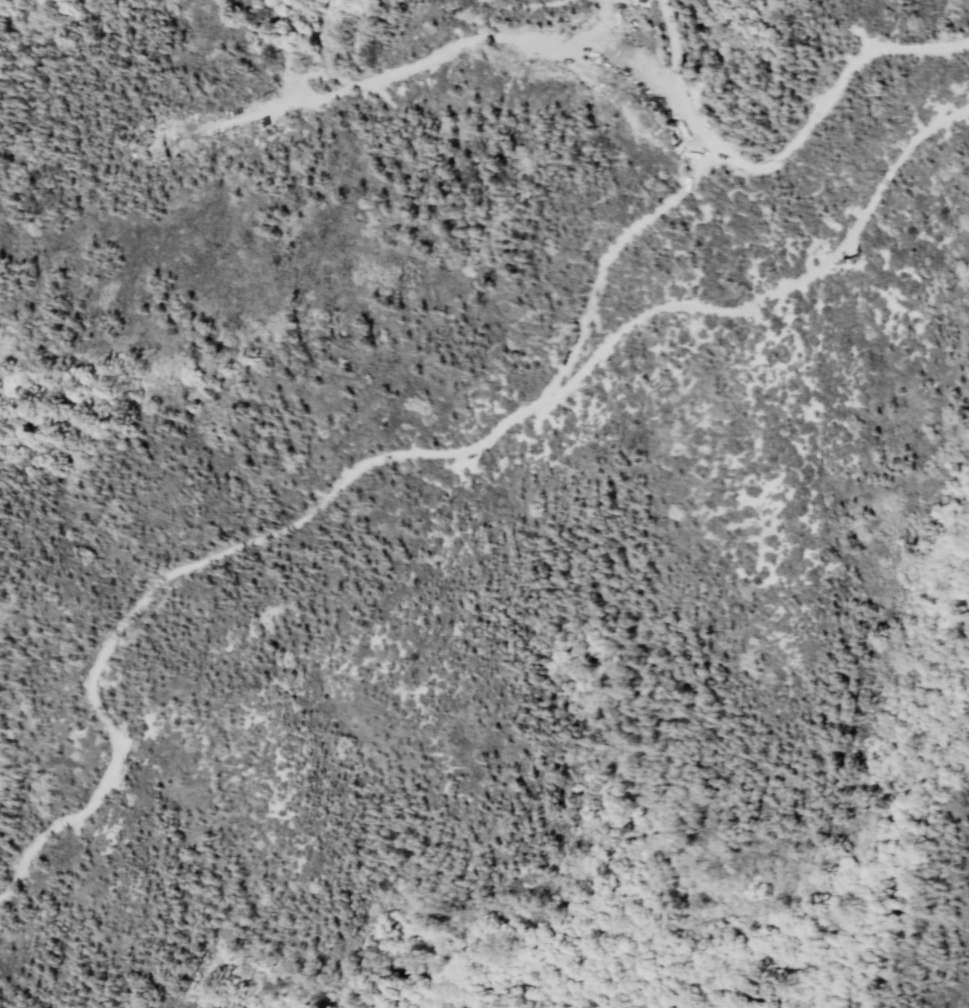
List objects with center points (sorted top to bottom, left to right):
road: (674, 41)
road: (293, 49)
road: (609, 51)
road: (872, 200)
road: (666, 208)
road: (584, 328)
road: (304, 514)

